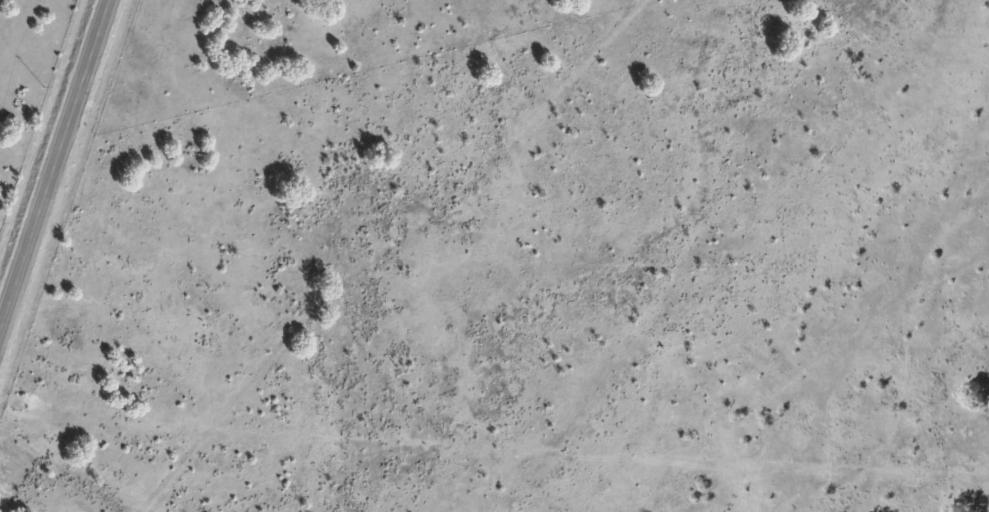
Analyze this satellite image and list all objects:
road: (54, 166)

